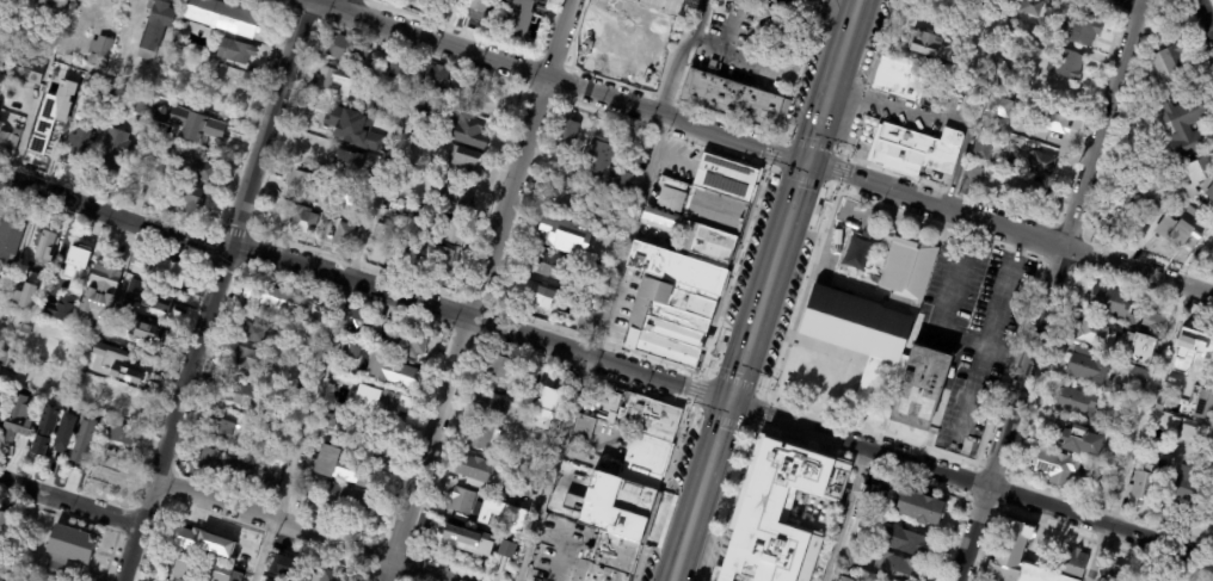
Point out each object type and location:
building: (106, 1)
building: (412, 1)
road: (1137, 1)
road: (321, 2)
building: (444, 2)
building: (669, 5)
parking garage: (669, 5)
building: (54, 6)
road: (343, 6)
building: (1030, 7)
building: (476, 8)
road: (819, 11)
road: (1203, 14)
building: (223, 18)
building: (143, 20)
building: (517, 21)
building: (184, 25)
building: (155, 29)
building: (1084, 29)
road: (849, 33)
building: (635, 35)
building: (1020, 35)
building: (78, 36)
building: (930, 45)
building: (235, 51)
building: (349, 51)
building: (99, 52)
building: (61, 54)
building: (70, 56)
building: (996, 64)
building: (1065, 64)
building: (1171, 64)
building: (401, 67)
building: (122, 70)
building: (27, 75)
road: (554, 78)
building: (899, 78)
building: (437, 80)
building: (335, 82)
building: (1004, 82)
building: (149, 87)
building: (104, 92)
building: (86, 93)
building: (728, 98)
building: (937, 98)
building: (368, 104)
building: (141, 105)
building: (458, 106)
building: (1002, 109)
road: (898, 110)
road: (821, 113)
building: (429, 115)
building: (1058, 124)
building: (1184, 125)
building: (353, 129)
building: (466, 131)
building: (204, 137)
building: (146, 138)
building: (565, 140)
building: (80, 142)
building: (8, 143)
building: (983, 147)
building: (913, 148)
road: (1053, 150)
building: (113, 152)
building: (38, 153)
traffic signals: (807, 159)
building: (467, 161)
building: (1011, 161)
building: (601, 162)
building: (1042, 163)
building: (349, 165)
building: (193, 169)
building: (996, 171)
building: (1202, 175)
building: (971, 179)
building: (301, 183)
building: (623, 183)
building: (672, 184)
building: (1024, 192)
building: (1150, 197)
building: (345, 199)
road: (794, 199)
building: (187, 202)
building: (454, 203)
building: (560, 203)
building: (330, 210)
road: (113, 212)
building: (325, 218)
building: (333, 220)
building: (304, 222)
building: (623, 227)
road: (1010, 227)
building: (447, 229)
building: (1184, 230)
building: (344, 236)
building: (565, 237)
building: (10, 240)
building: (1208, 242)
building: (43, 246)
building: (374, 249)
building: (854, 254)
building: (435, 259)
building: (78, 264)
building: (685, 264)
building: (547, 265)
building: (143, 267)
building: (168, 272)
road: (771, 276)
building: (135, 283)
road: (610, 289)
road: (214, 290)
road: (476, 290)
railway: (778, 290)
road: (1051, 290)
building: (51, 295)
building: (100, 295)
building: (534, 295)
building: (17, 296)
building: (271, 297)
building: (159, 302)
building: (1112, 302)
building: (870, 307)
building: (59, 308)
road: (339, 310)
building: (118, 314)
road: (481, 320)
building: (357, 321)
building: (1133, 323)
building: (1153, 323)
building: (25, 329)
building: (112, 334)
building: (253, 334)
building: (1094, 335)
building: (374, 338)
road: (962, 338)
building: (147, 339)
building: (1189, 340)
building: (413, 345)
building: (343, 351)
building: (350, 351)
building: (1143, 351)
road: (746, 357)
building: (1113, 357)
road: (1005, 358)
building: (248, 360)
building: (69, 361)
building: (7, 363)
building: (112, 364)
building: (1182, 364)
building: (1088, 367)
building: (499, 369)
building: (137, 373)
building: (1200, 375)
building: (66, 377)
building: (404, 377)
building: (1139, 377)
building: (302, 391)
building: (922, 391)
road: (971, 393)
building: (555, 394)
building: (1190, 394)
building: (528, 397)
building: (250, 400)
building: (339, 400)
building: (36, 402)
building: (301, 402)
traffic signals: (732, 403)
building: (1079, 403)
building: (127, 404)
building: (491, 406)
building: (1160, 406)
building: (57, 407)
building: (388, 407)
building: (609, 407)
building: (1205, 407)
building: (1, 409)
building: (648, 416)
building: (18, 421)
building: (334, 421)
building: (492, 421)
building: (1177, 424)
building: (552, 425)
building: (44, 429)
building: (220, 429)
building: (584, 429)
building: (63, 433)
building: (119, 434)
building: (257, 434)
road: (1137, 434)
building: (1189, 434)
building: (1073, 435)
building: (481, 439)
building: (82, 440)
building: (254, 444)
building: (16, 445)
building: (378, 446)
building: (62, 450)
road: (716, 450)
building: (645, 452)
building: (42, 453)
building: (534, 465)
building: (80, 466)
building: (1058, 466)
building: (227, 468)
building: (345, 469)
building: (478, 474)
building: (636, 475)
building: (272, 478)
road: (973, 481)
building: (304, 484)
building: (531, 487)
building: (1146, 487)
building: (1187, 487)
road: (72, 494)
building: (876, 495)
building: (1106, 495)
building: (509, 501)
building: (352, 502)
building: (464, 503)
building: (922, 511)
building: (782, 513)
road: (843, 513)
building: (5, 526)
building: (518, 530)
road: (304, 531)
building: (864, 533)
building: (590, 536)
building: (449, 537)
road: (688, 538)
building: (186, 540)
building: (906, 543)
building: (69, 549)
building: (507, 549)
building: (1011, 550)
building: (854, 556)
building: (609, 560)
building: (278, 564)
building: (176, 569)
building: (898, 569)
building: (222, 574)
building: (1112, 575)
building: (328, 576)
building: (843, 580)

